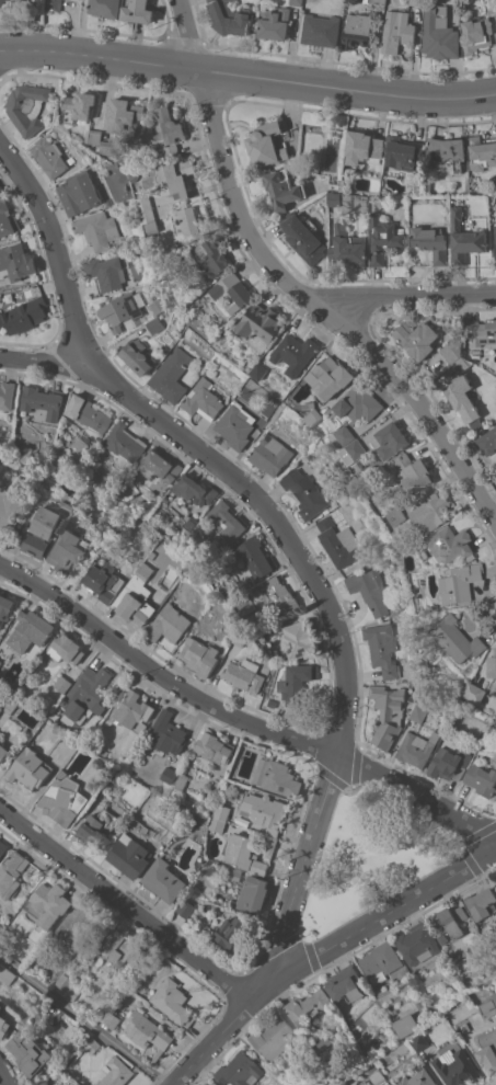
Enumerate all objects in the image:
building: (1, 1)
building: (376, 1)
building: (415, 1)
building: (296, 2)
building: (55, 4)
building: (105, 7)
building: (138, 11)
building: (230, 18)
building: (274, 22)
building: (321, 30)
building: (357, 30)
building: (397, 31)
building: (439, 32)
road: (186, 34)
building: (477, 34)
road: (247, 75)
building: (27, 106)
building: (79, 106)
building: (125, 115)
building: (168, 126)
building: (96, 136)
building: (267, 142)
building: (109, 147)
building: (362, 147)
building: (446, 150)
building: (166, 152)
building: (402, 152)
building: (482, 153)
building: (50, 156)
building: (71, 160)
building: (131, 169)
building: (175, 178)
building: (342, 185)
building: (417, 186)
building: (0, 187)
building: (284, 187)
building: (428, 187)
building: (79, 192)
building: (334, 197)
building: (149, 214)
building: (7, 218)
building: (189, 219)
building: (97, 229)
building: (495, 232)
building: (303, 236)
building: (384, 238)
building: (464, 238)
building: (430, 241)
building: (347, 245)
building: (495, 251)
building: (214, 255)
building: (14, 260)
building: (104, 272)
building: (231, 292)
road: (410, 294)
building: (158, 305)
road: (320, 308)
building: (119, 310)
building: (23, 315)
building: (153, 323)
building: (259, 325)
building: (481, 331)
building: (417, 338)
building: (295, 352)
building: (475, 353)
building: (137, 355)
building: (455, 355)
road: (48, 363)
building: (259, 370)
building: (171, 374)
building: (330, 376)
building: (7, 393)
building: (463, 398)
building: (203, 399)
building: (41, 400)
building: (309, 403)
building: (359, 403)
building: (86, 412)
building: (313, 415)
building: (234, 424)
building: (346, 434)
building: (391, 438)
building: (124, 441)
building: (486, 441)
building: (80, 442)
building: (354, 449)
building: (269, 454)
building: (158, 465)
building: (413, 471)
building: (193, 489)
building: (304, 492)
building: (67, 505)
building: (8, 506)
building: (32, 506)
building: (431, 512)
building: (396, 515)
building: (191, 519)
building: (226, 519)
road: (276, 526)
building: (43, 530)
building: (399, 538)
building: (338, 541)
building: (451, 542)
building: (69, 549)
building: (254, 555)
building: (105, 580)
building: (460, 582)
building: (247, 583)
building: (369, 589)
building: (139, 594)
building: (282, 595)
building: (5, 607)
building: (169, 623)
building: (275, 628)
building: (31, 629)
building: (240, 637)
building: (299, 639)
building: (458, 639)
building: (66, 648)
building: (381, 648)
building: (200, 655)
building: (0, 661)
building: (493, 665)
building: (244, 674)
building: (296, 681)
building: (62, 683)
building: (86, 692)
building: (475, 692)
building: (10, 701)
building: (272, 703)
building: (134, 711)
building: (417, 711)
building: (387, 713)
road: (238, 718)
building: (168, 732)
building: (214, 746)
building: (416, 747)
building: (3, 752)
building: (449, 763)
building: (28, 767)
building: (60, 773)
building: (169, 774)
building: (276, 777)
building: (481, 778)
building: (180, 783)
building: (64, 799)
building: (264, 810)
building: (218, 816)
building: (97, 827)
building: (3, 846)
building: (247, 853)
building: (129, 855)
park: (370, 857)
building: (12, 872)
building: (163, 879)
building: (254, 893)
building: (481, 902)
building: (48, 903)
road: (126, 906)
building: (186, 907)
building: (449, 920)
building: (76, 925)
building: (2, 926)
building: (231, 930)
road: (350, 935)
building: (441, 937)
building: (416, 943)
building: (118, 944)
building: (380, 961)
building: (5, 973)
building: (345, 984)
building: (67, 985)
building: (111, 990)
building: (494, 994)
building: (172, 1001)
building: (422, 1005)
building: (1, 1006)
building: (305, 1006)
building: (489, 1006)
building: (109, 1015)
road: (85, 1019)
building: (406, 1024)
building: (3, 1026)
building: (465, 1027)
building: (147, 1031)
building: (272, 1036)
building: (419, 1041)
building: (91, 1044)
building: (488, 1050)
building: (30, 1052)
road: (194, 1060)
building: (369, 1067)
building: (457, 1067)
building: (238, 1070)
building: (115, 1072)
road: (3, 1075)
building: (378, 1076)
building: (417, 1078)
building: (41, 1083)
building: (214, 1083)

